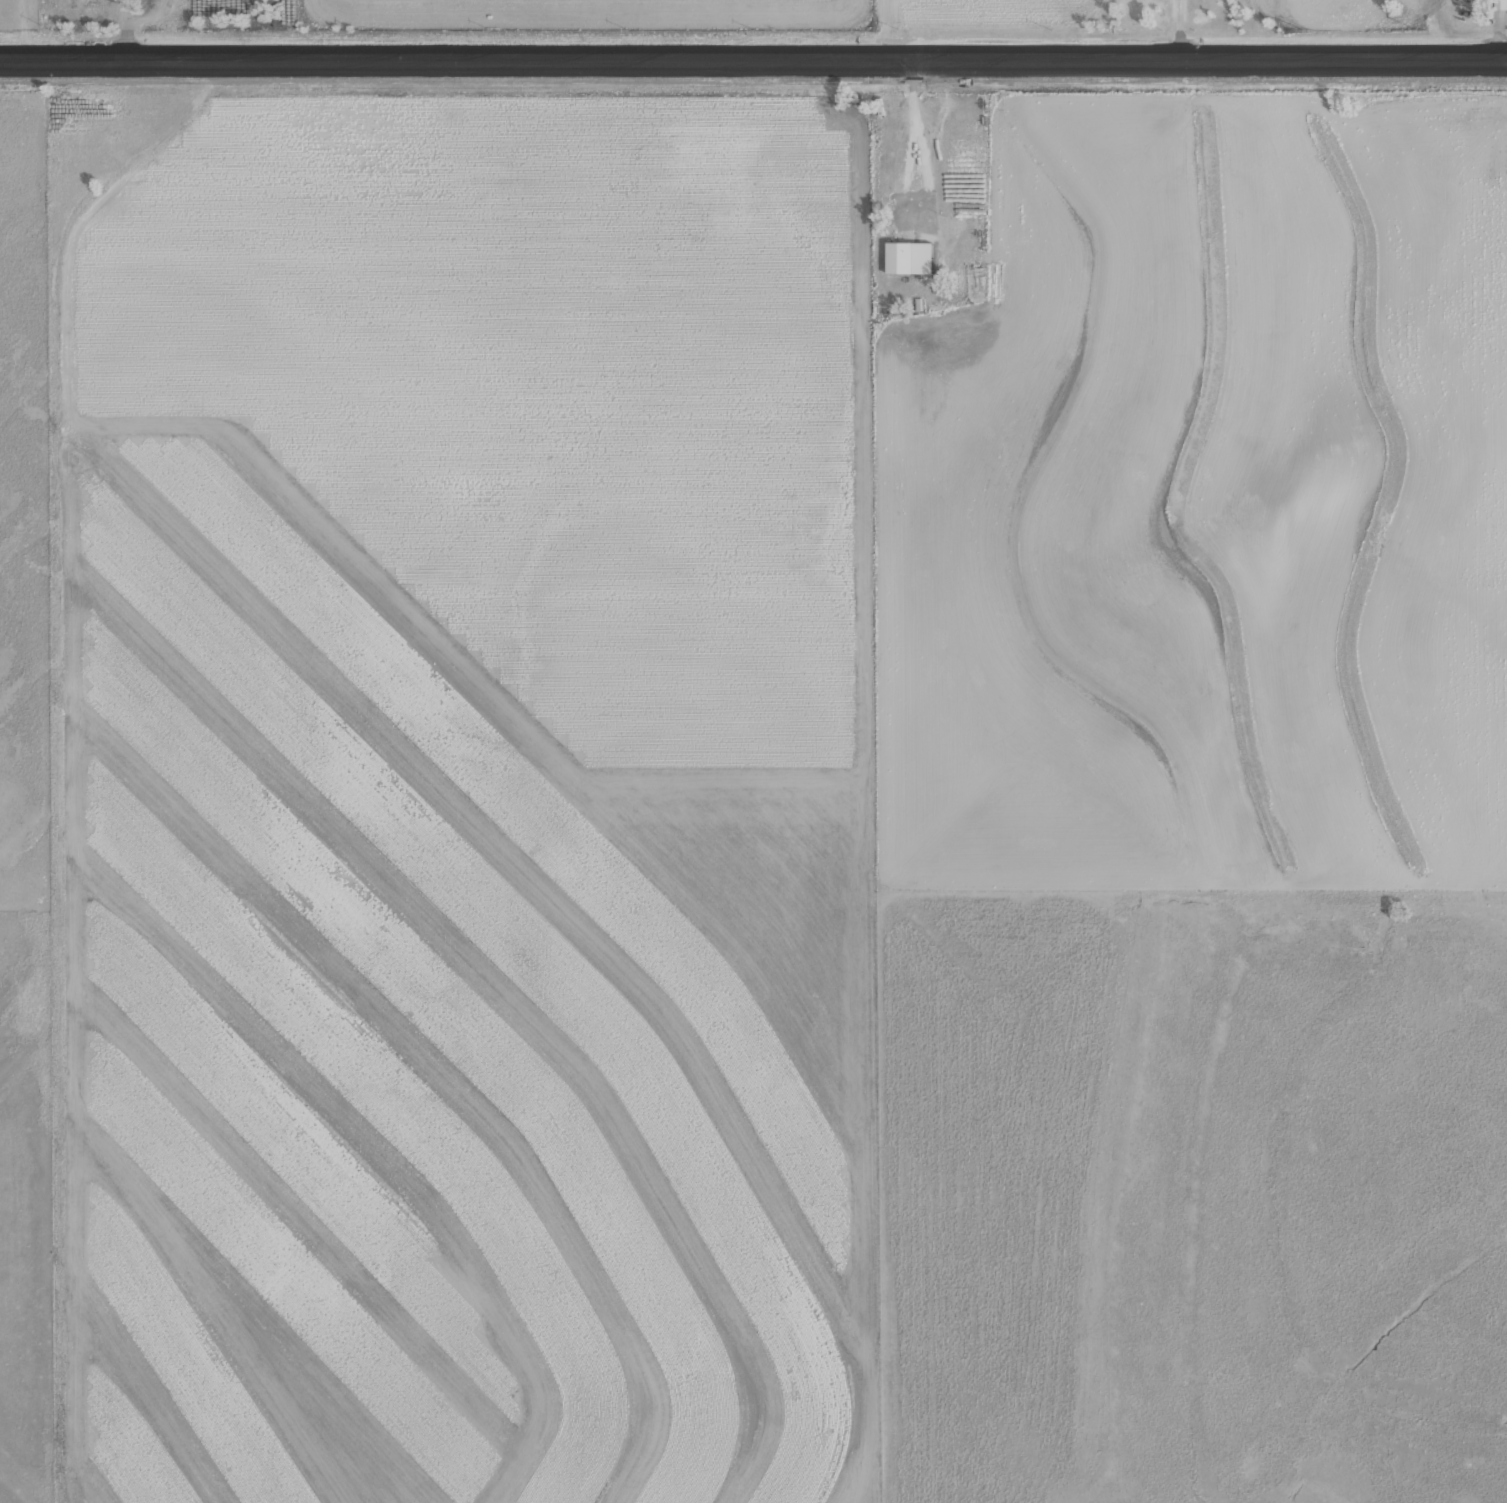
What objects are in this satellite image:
road: (753, 66)
building: (884, 107)
building: (907, 253)
road: (74, 784)

